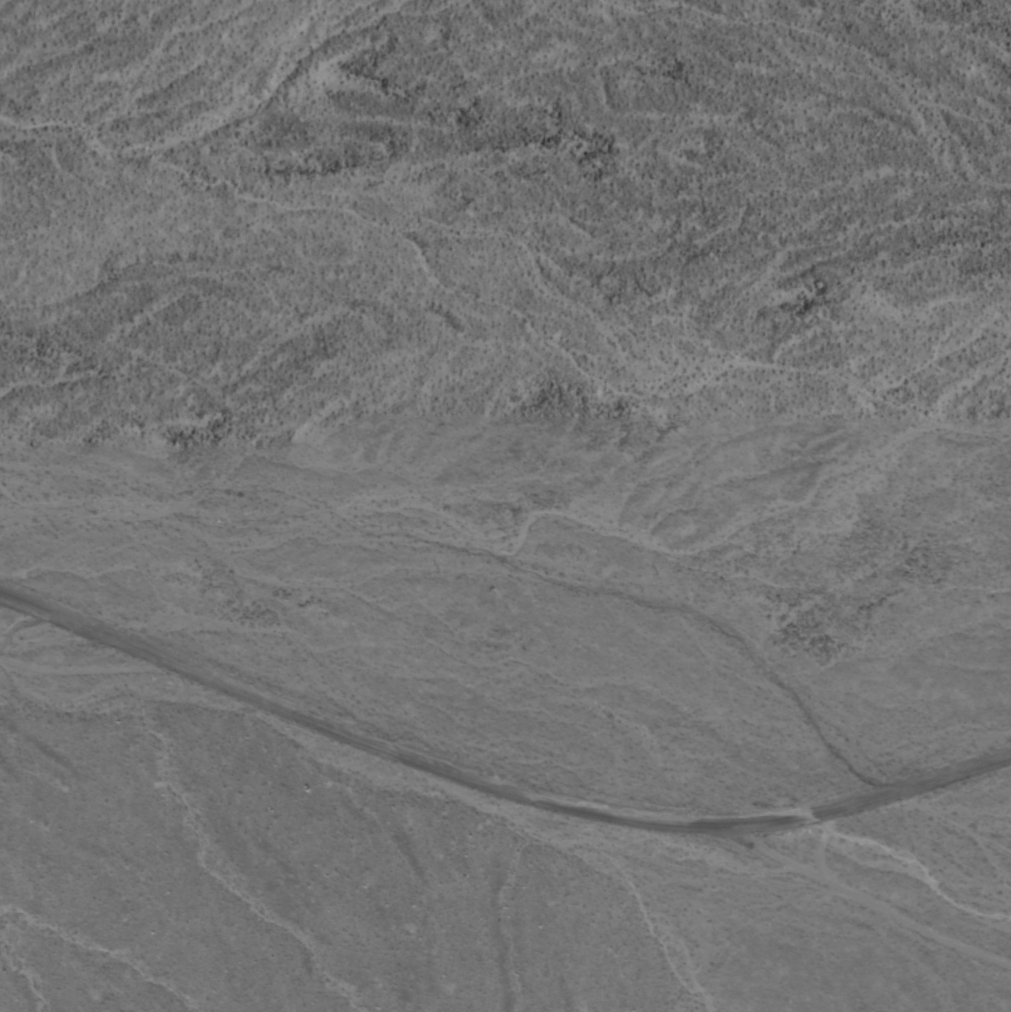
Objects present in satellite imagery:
road: (82, 667)
road: (494, 785)
road: (862, 897)

